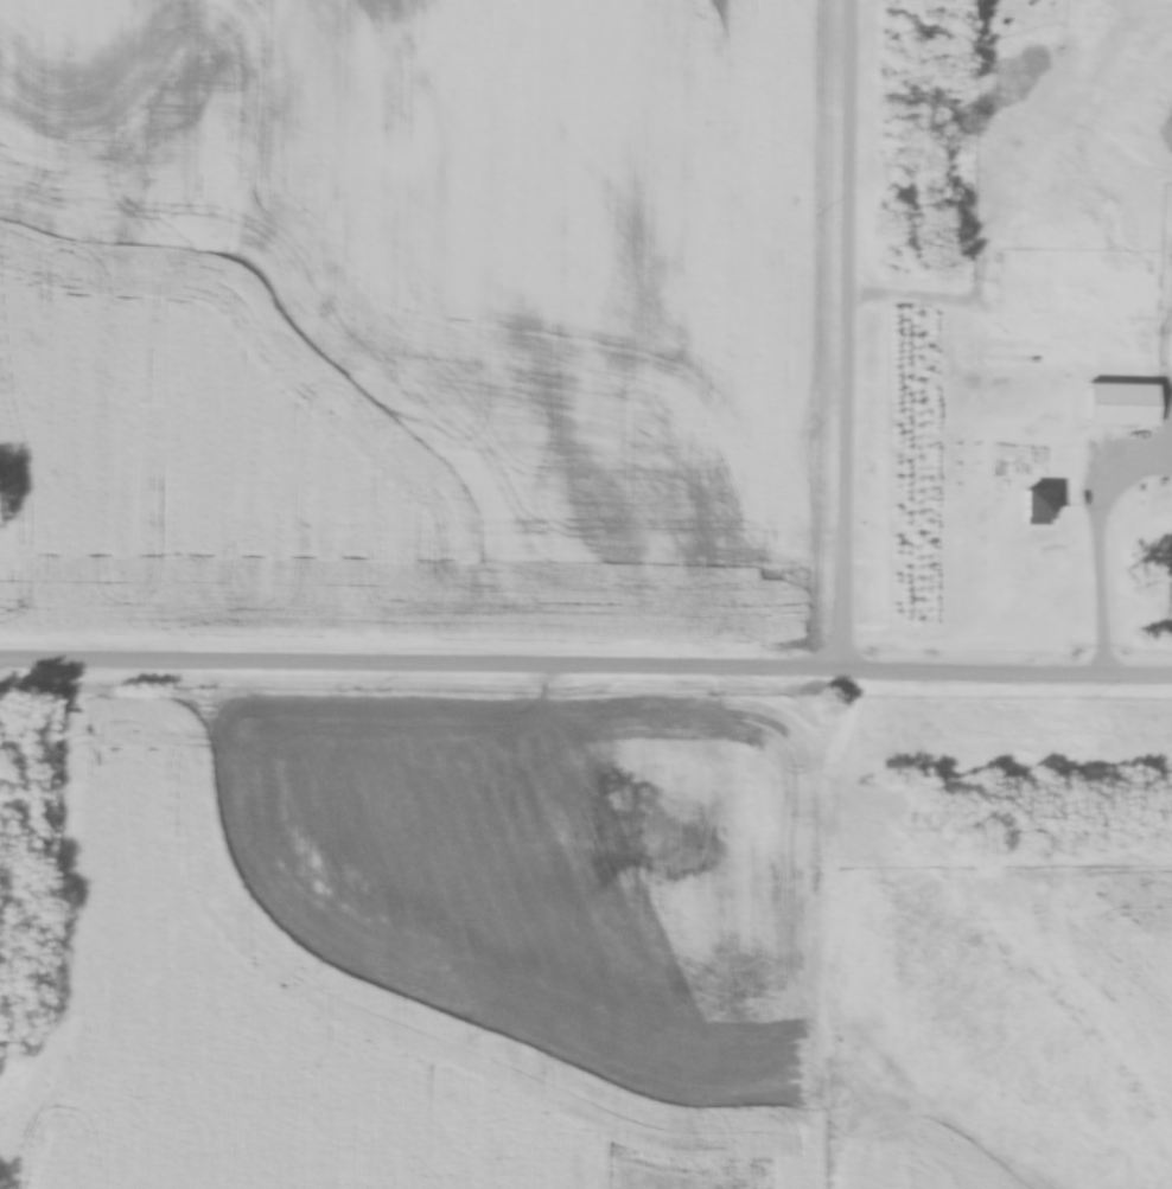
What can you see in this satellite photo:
building: (1006, 37)
road: (847, 337)
building: (1127, 410)
building: (1037, 505)
road: (586, 670)

